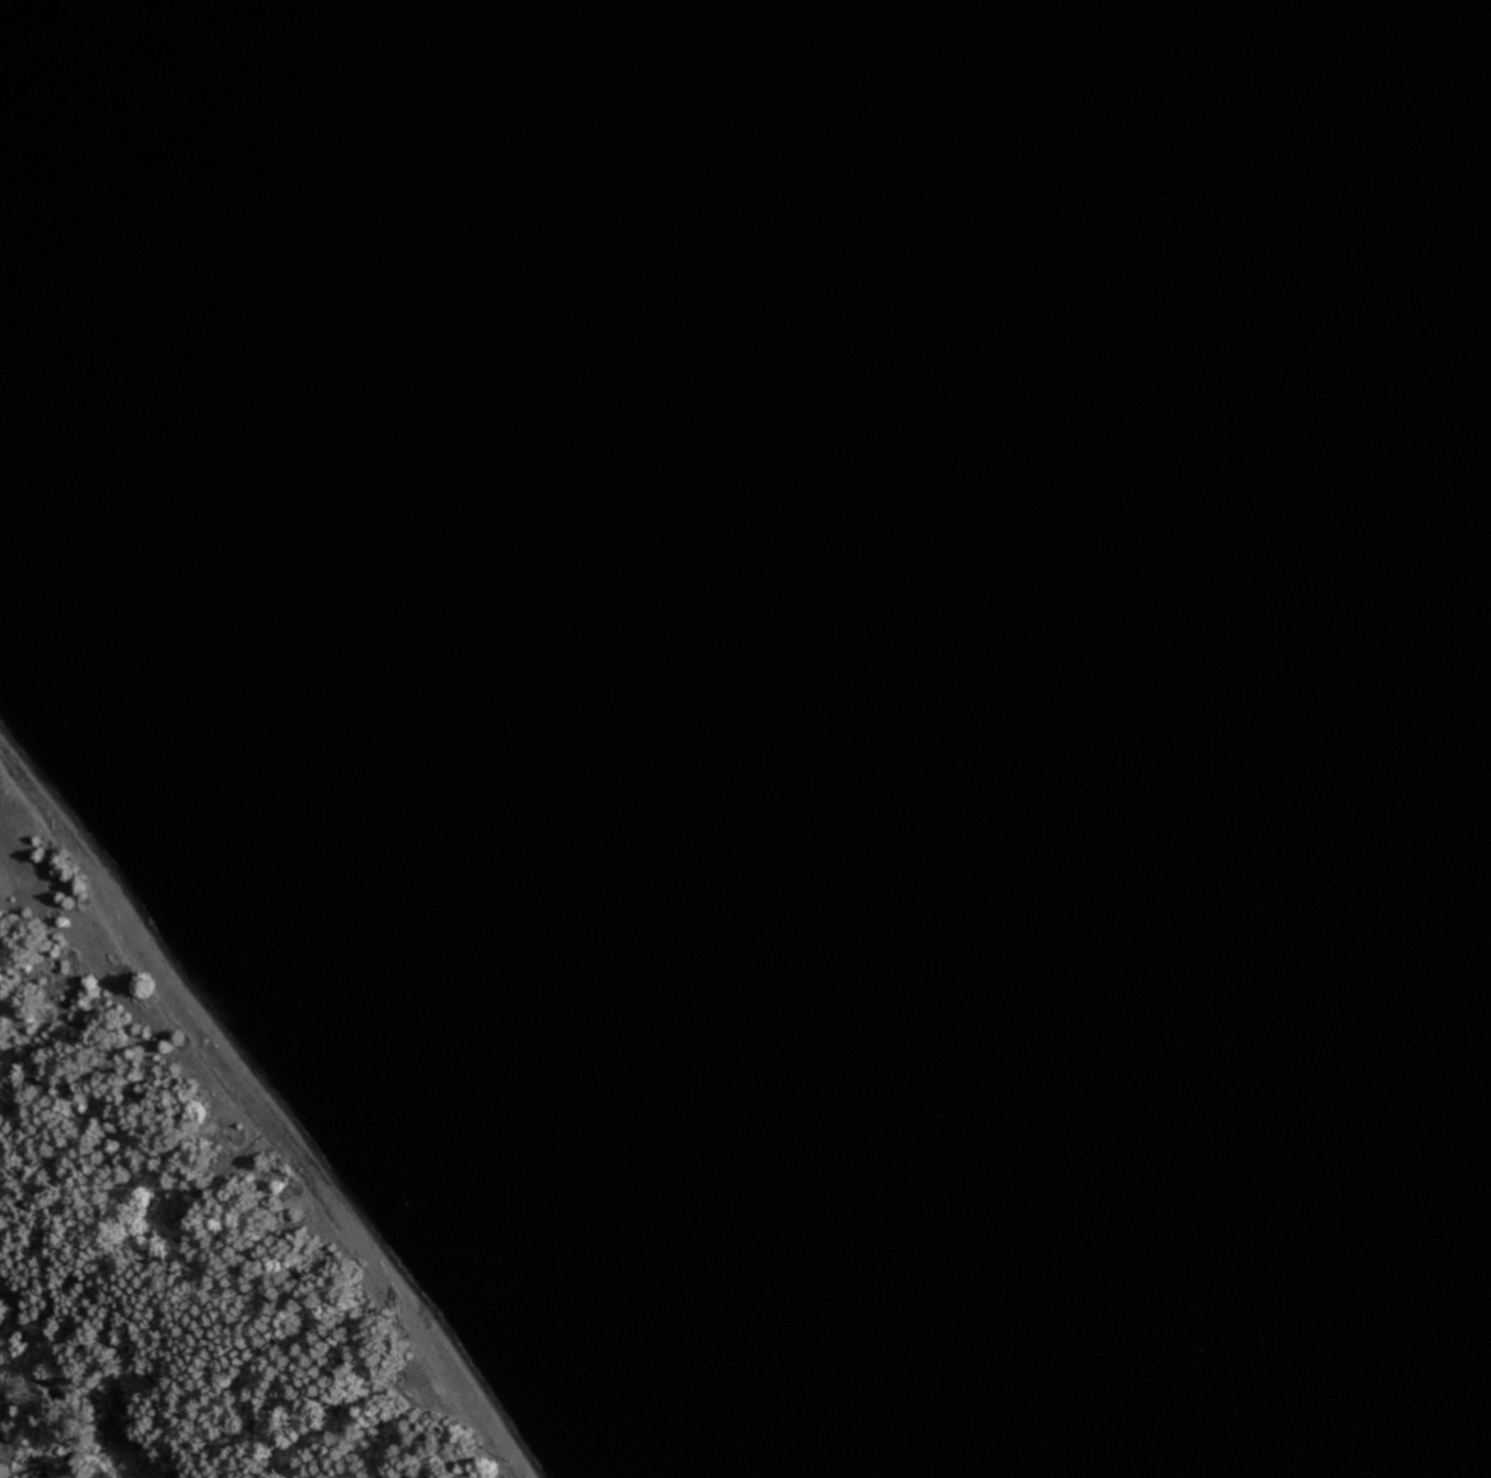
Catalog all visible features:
road: (108, 1329)

